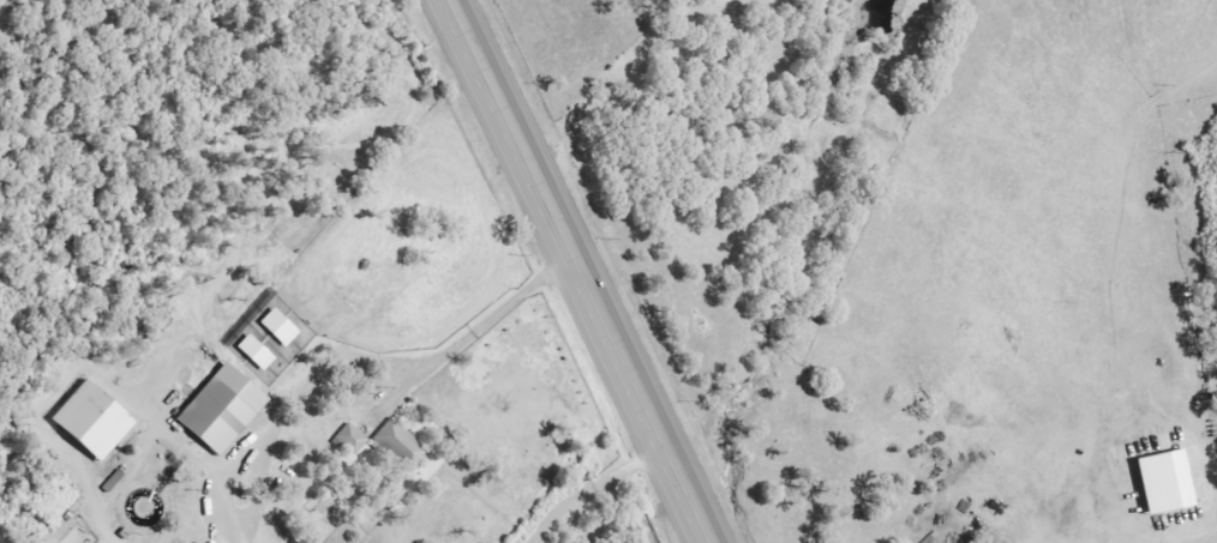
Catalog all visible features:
road: (18, 11)
road: (580, 271)
building: (281, 327)
building: (258, 352)
road: (404, 368)
building: (224, 409)
building: (97, 420)
building: (353, 439)
building: (403, 445)
building: (1168, 481)
road: (592, 487)

